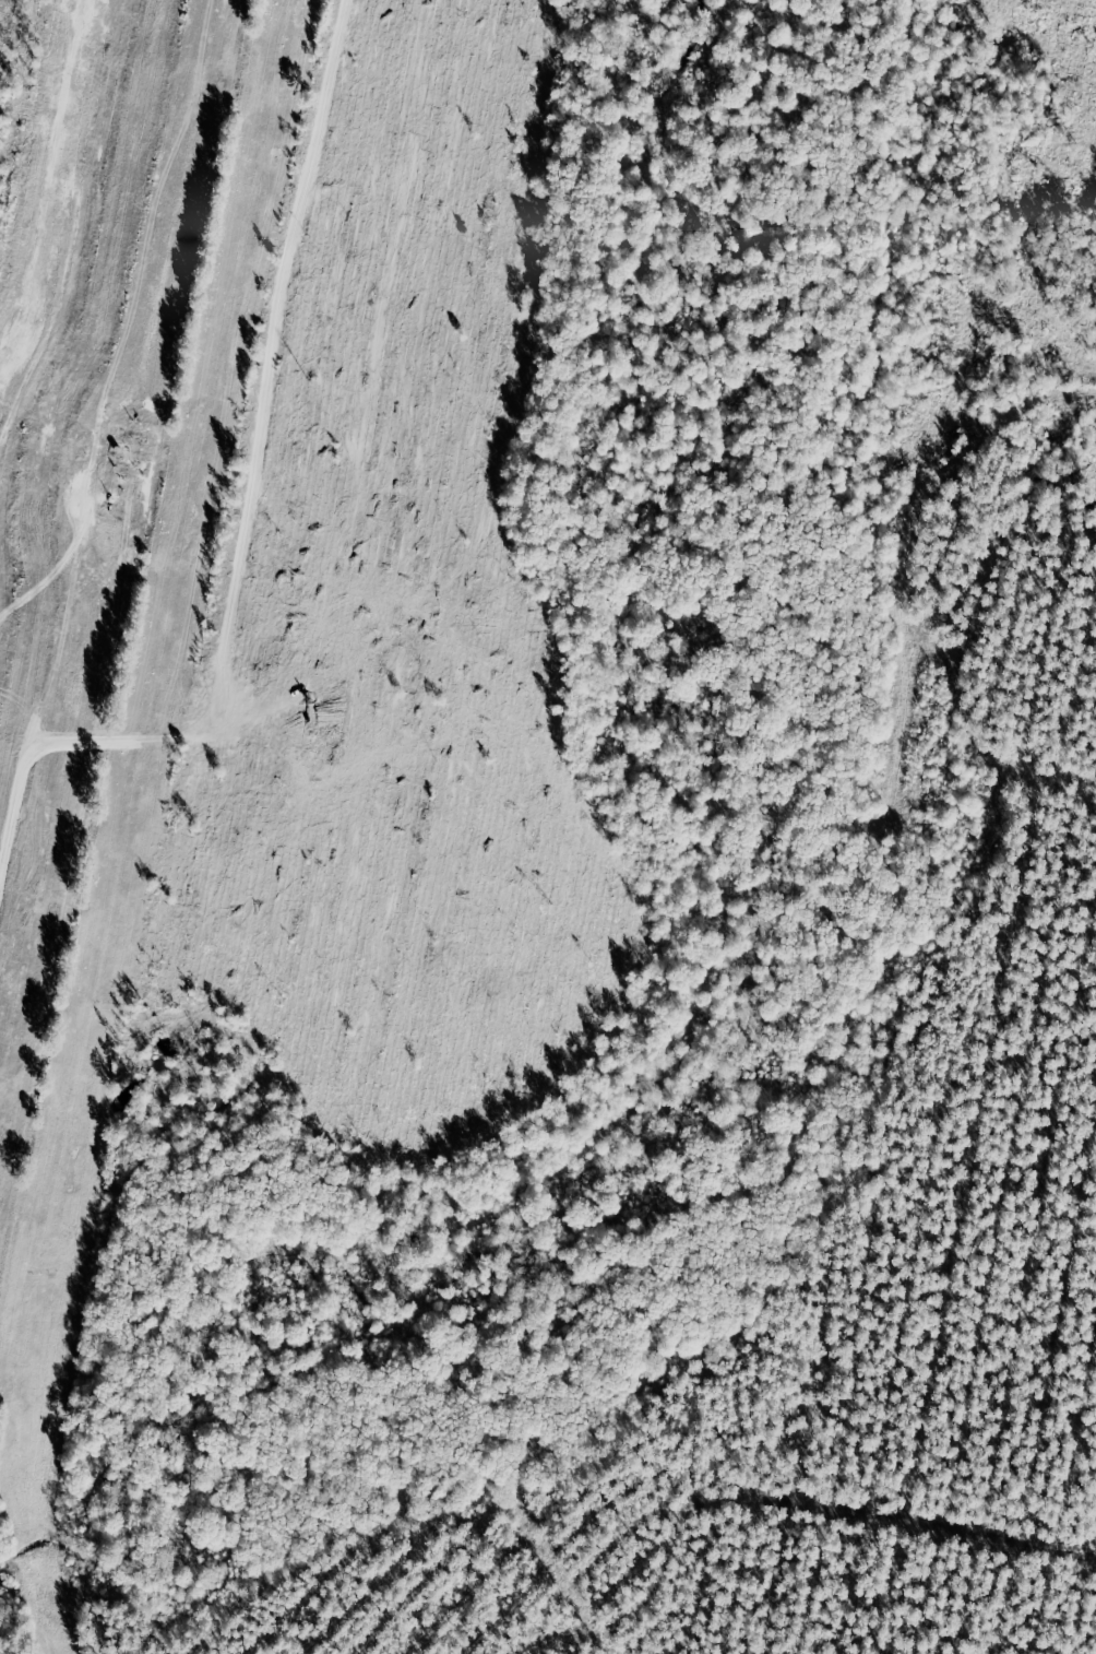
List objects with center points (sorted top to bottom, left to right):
road: (160, 532)

